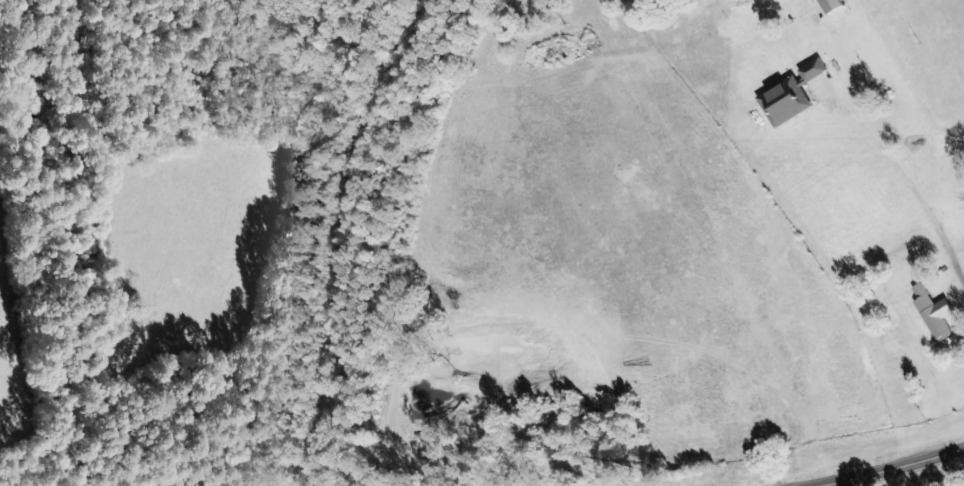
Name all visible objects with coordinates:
building: (828, 5)
building: (793, 94)
railway: (301, 235)
building: (932, 311)
road: (891, 468)

